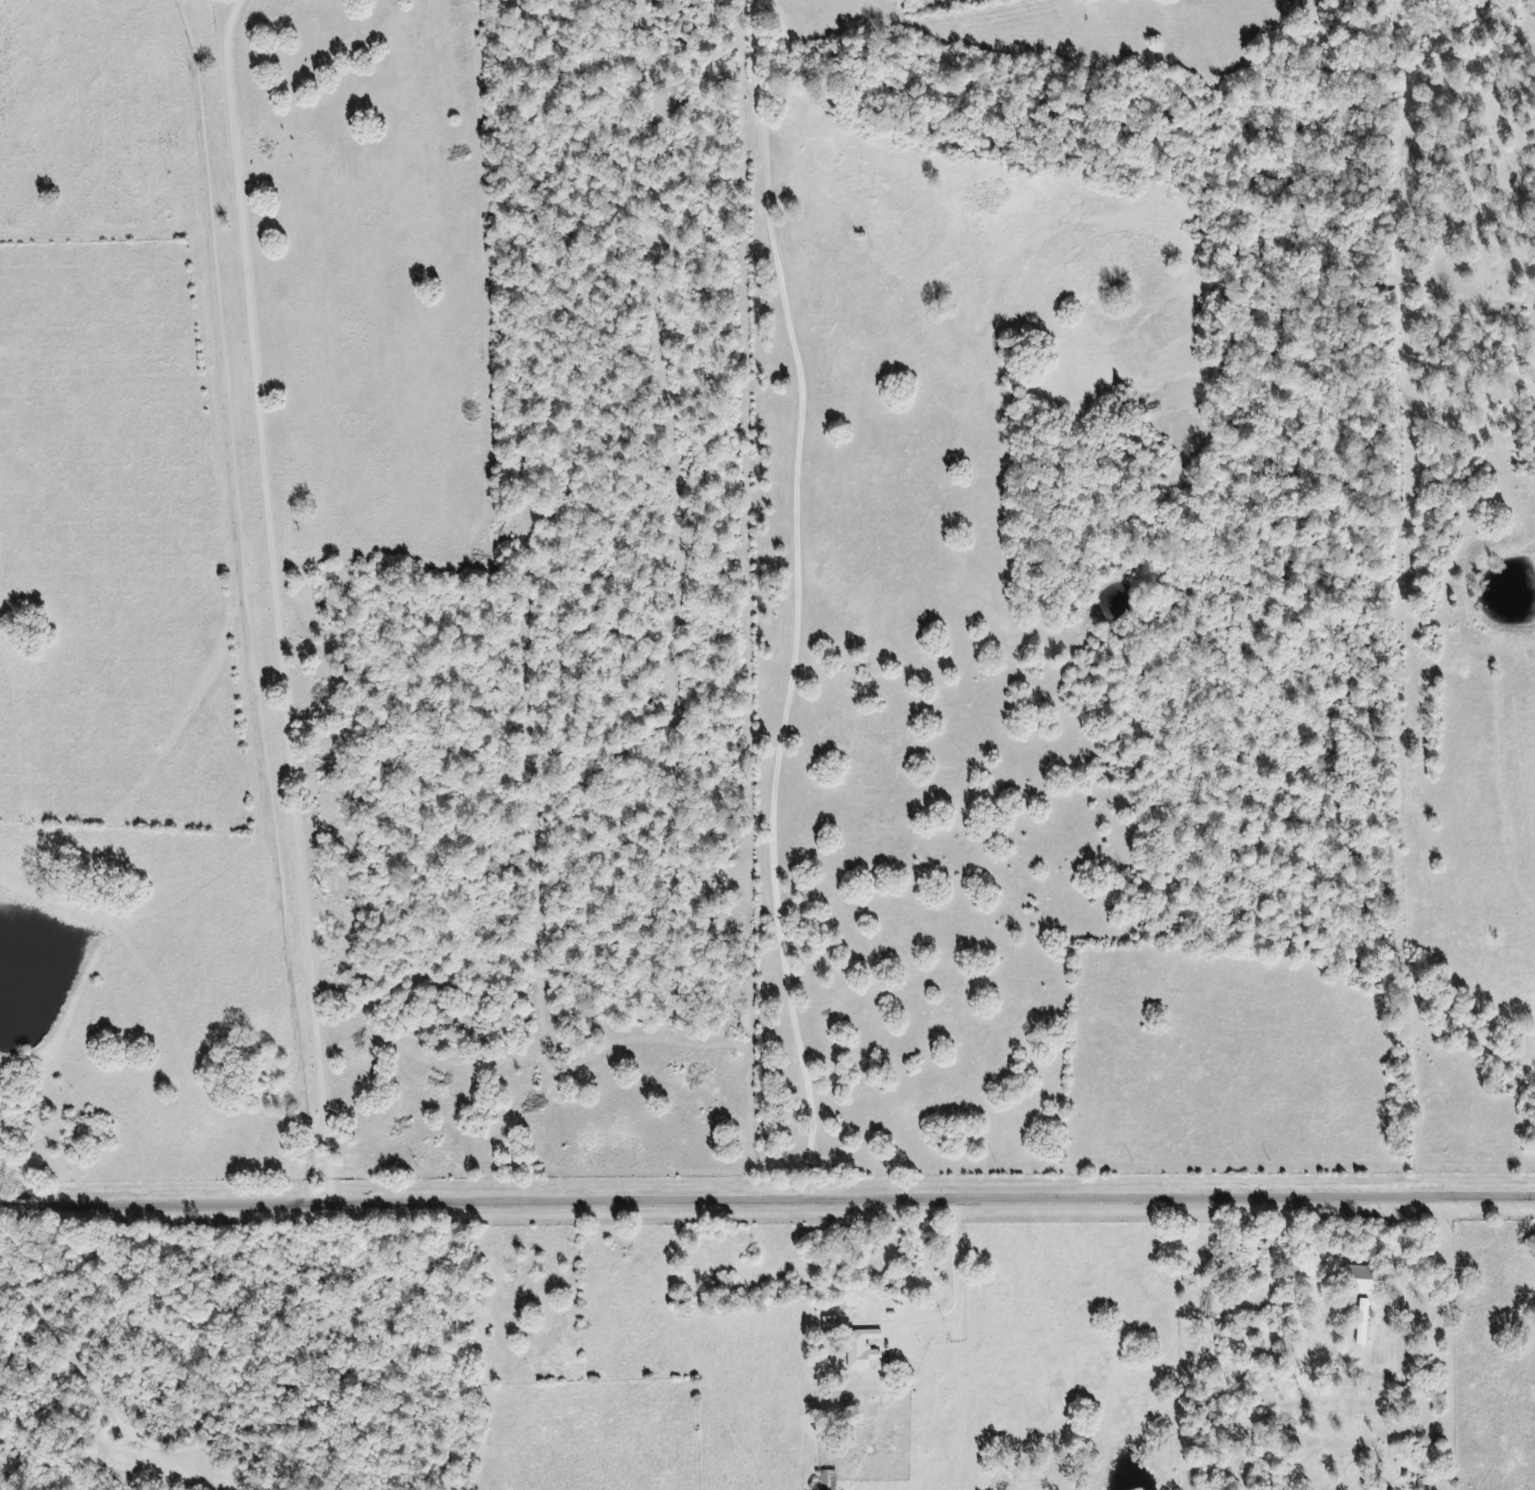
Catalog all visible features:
road: (798, 595)
road: (282, 598)
road: (246, 600)
road: (923, 1195)
road: (155, 1201)
building: (1362, 1280)
building: (1363, 1322)
building: (829, 1326)
building: (861, 1349)
building: (827, 1480)

